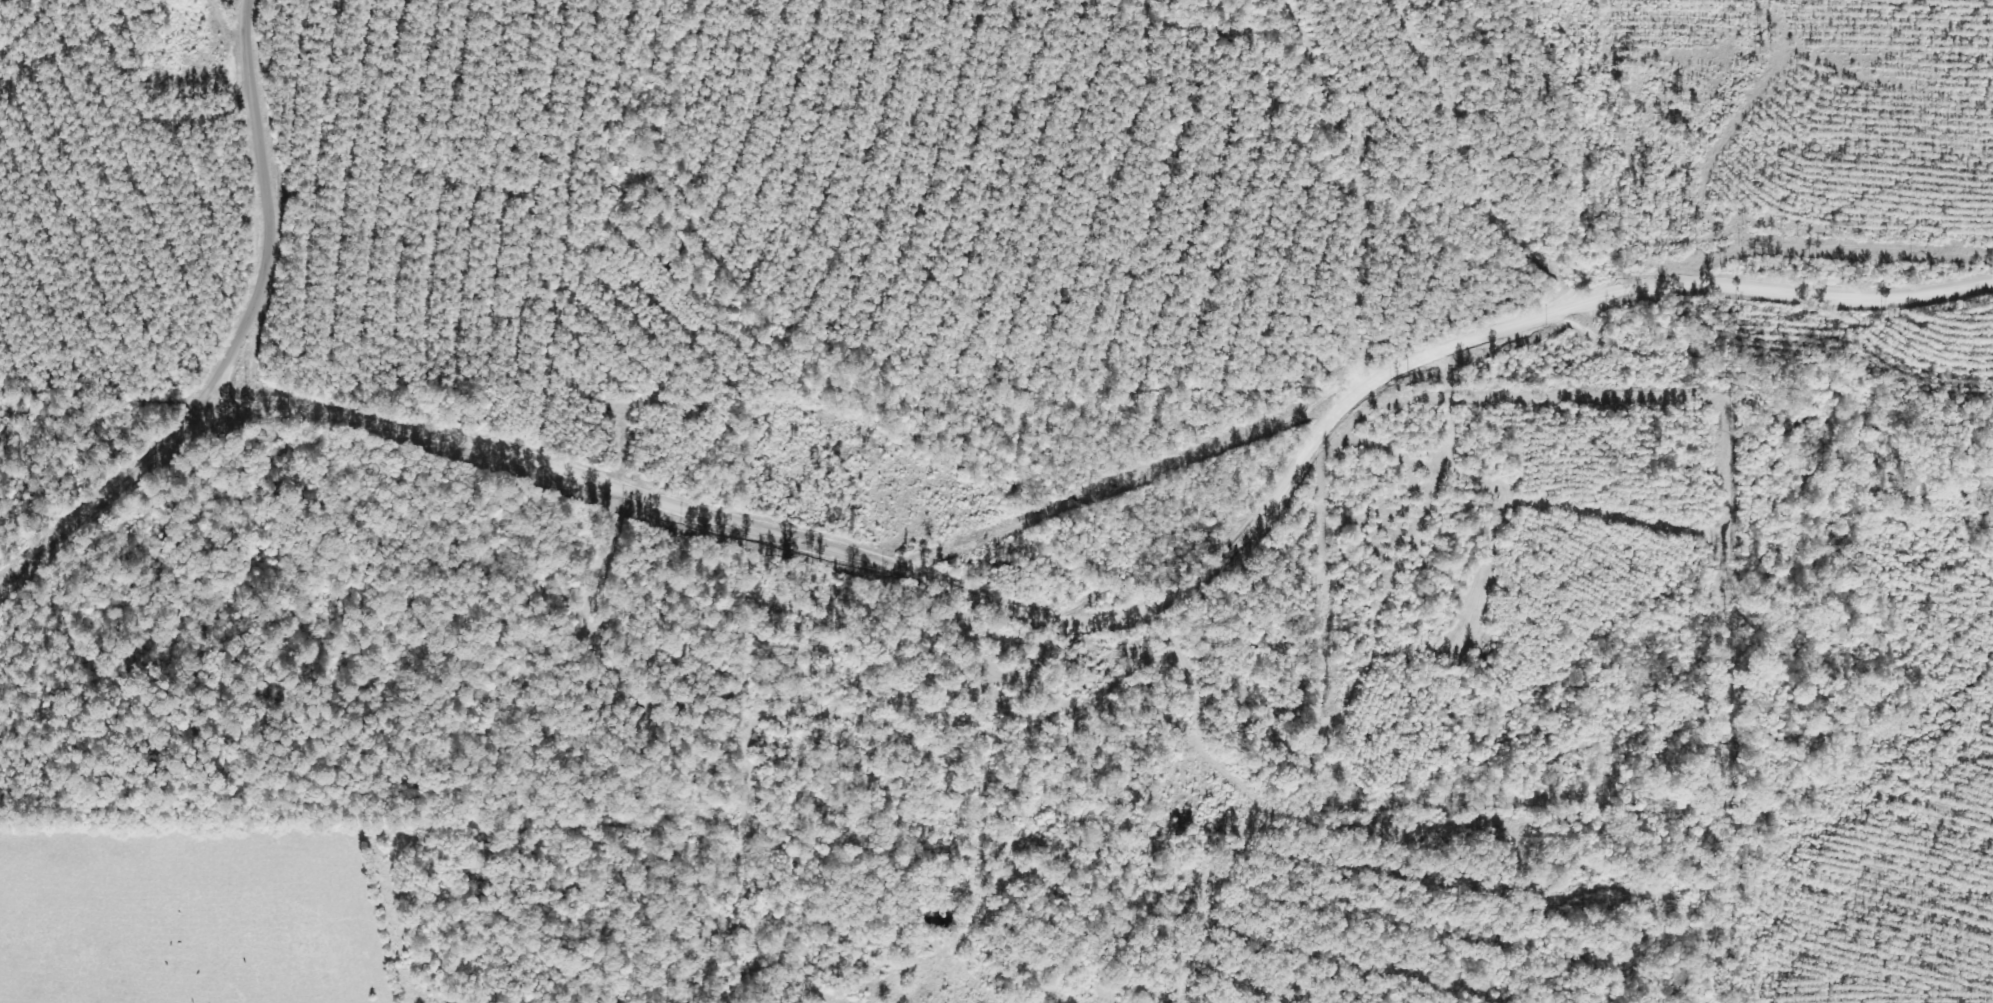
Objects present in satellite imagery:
road: (228, 335)
road: (1150, 600)

